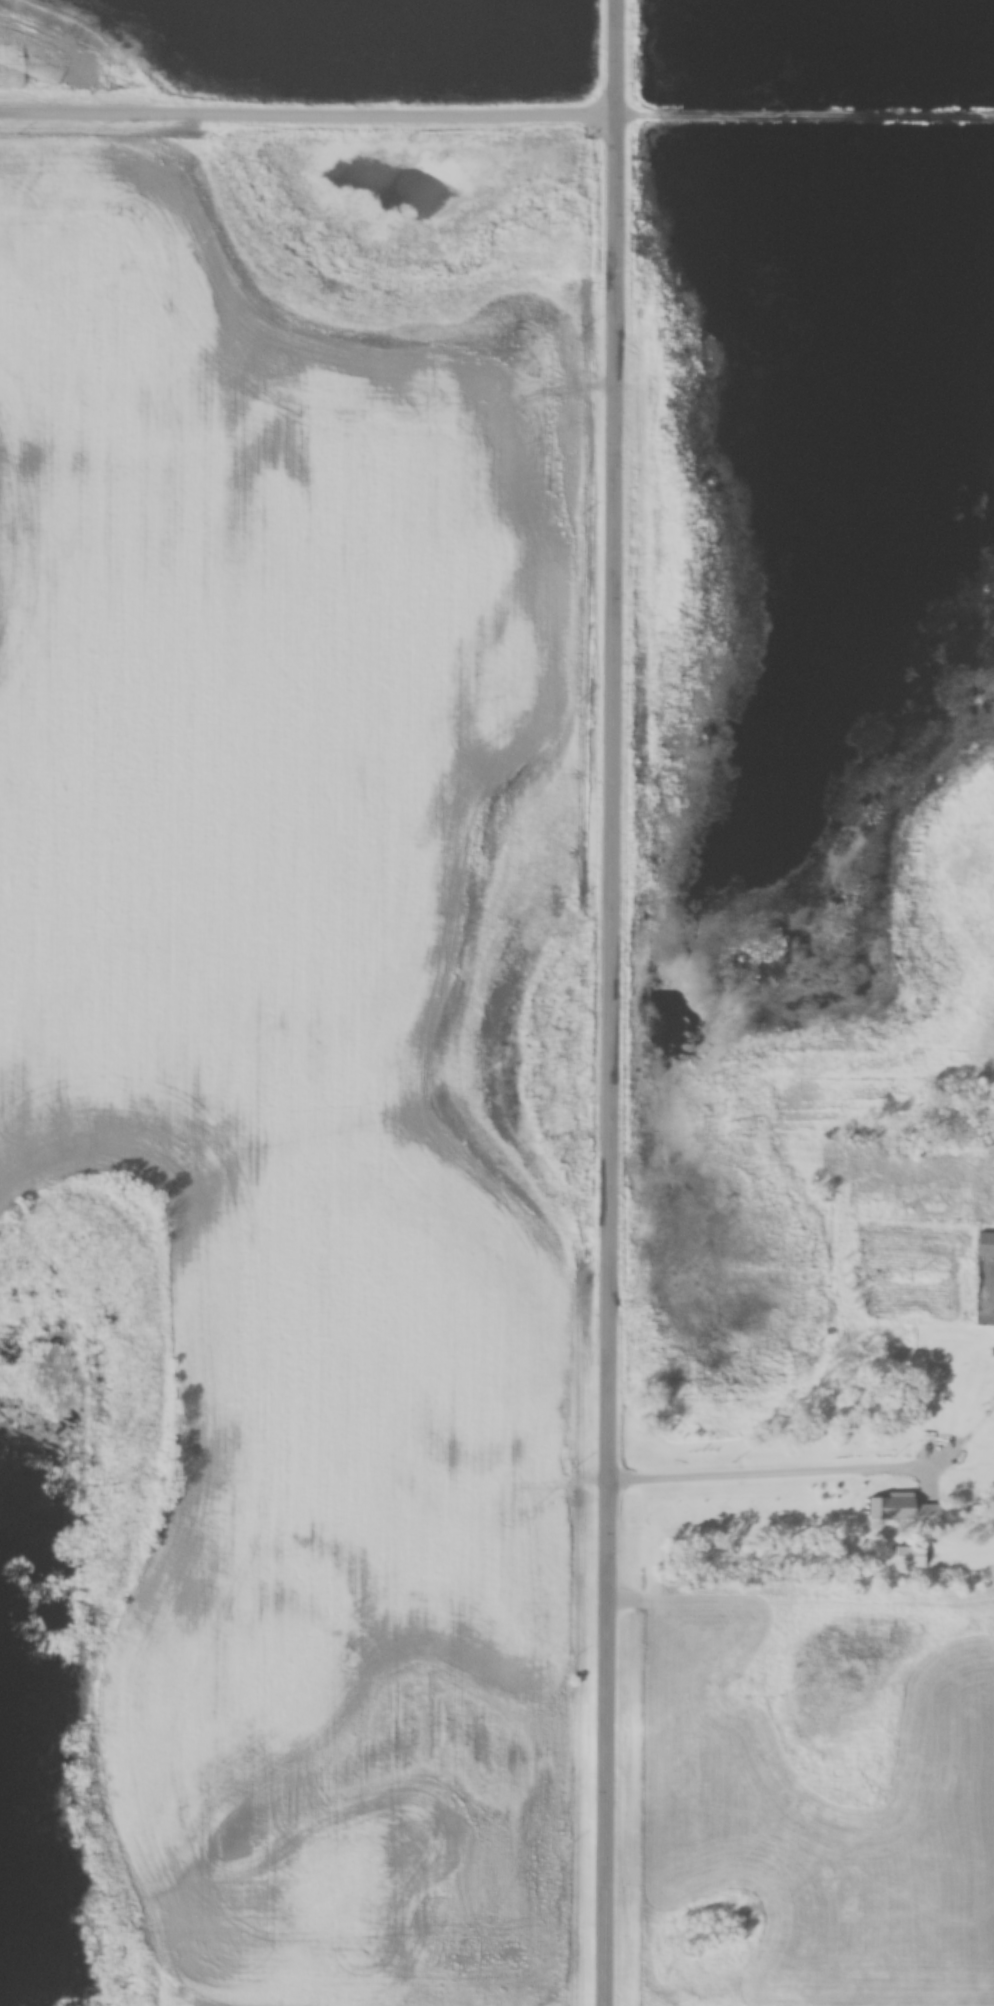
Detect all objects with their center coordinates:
road: (497, 111)
road: (612, 1003)
building: (986, 1240)
building: (900, 1506)
building: (912, 1556)

